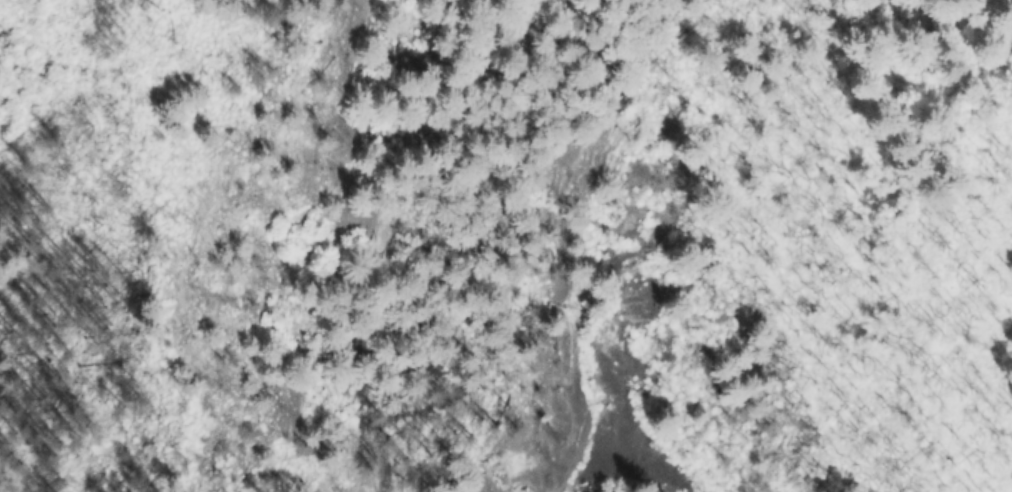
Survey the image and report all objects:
road: (154, 215)
road: (170, 356)

